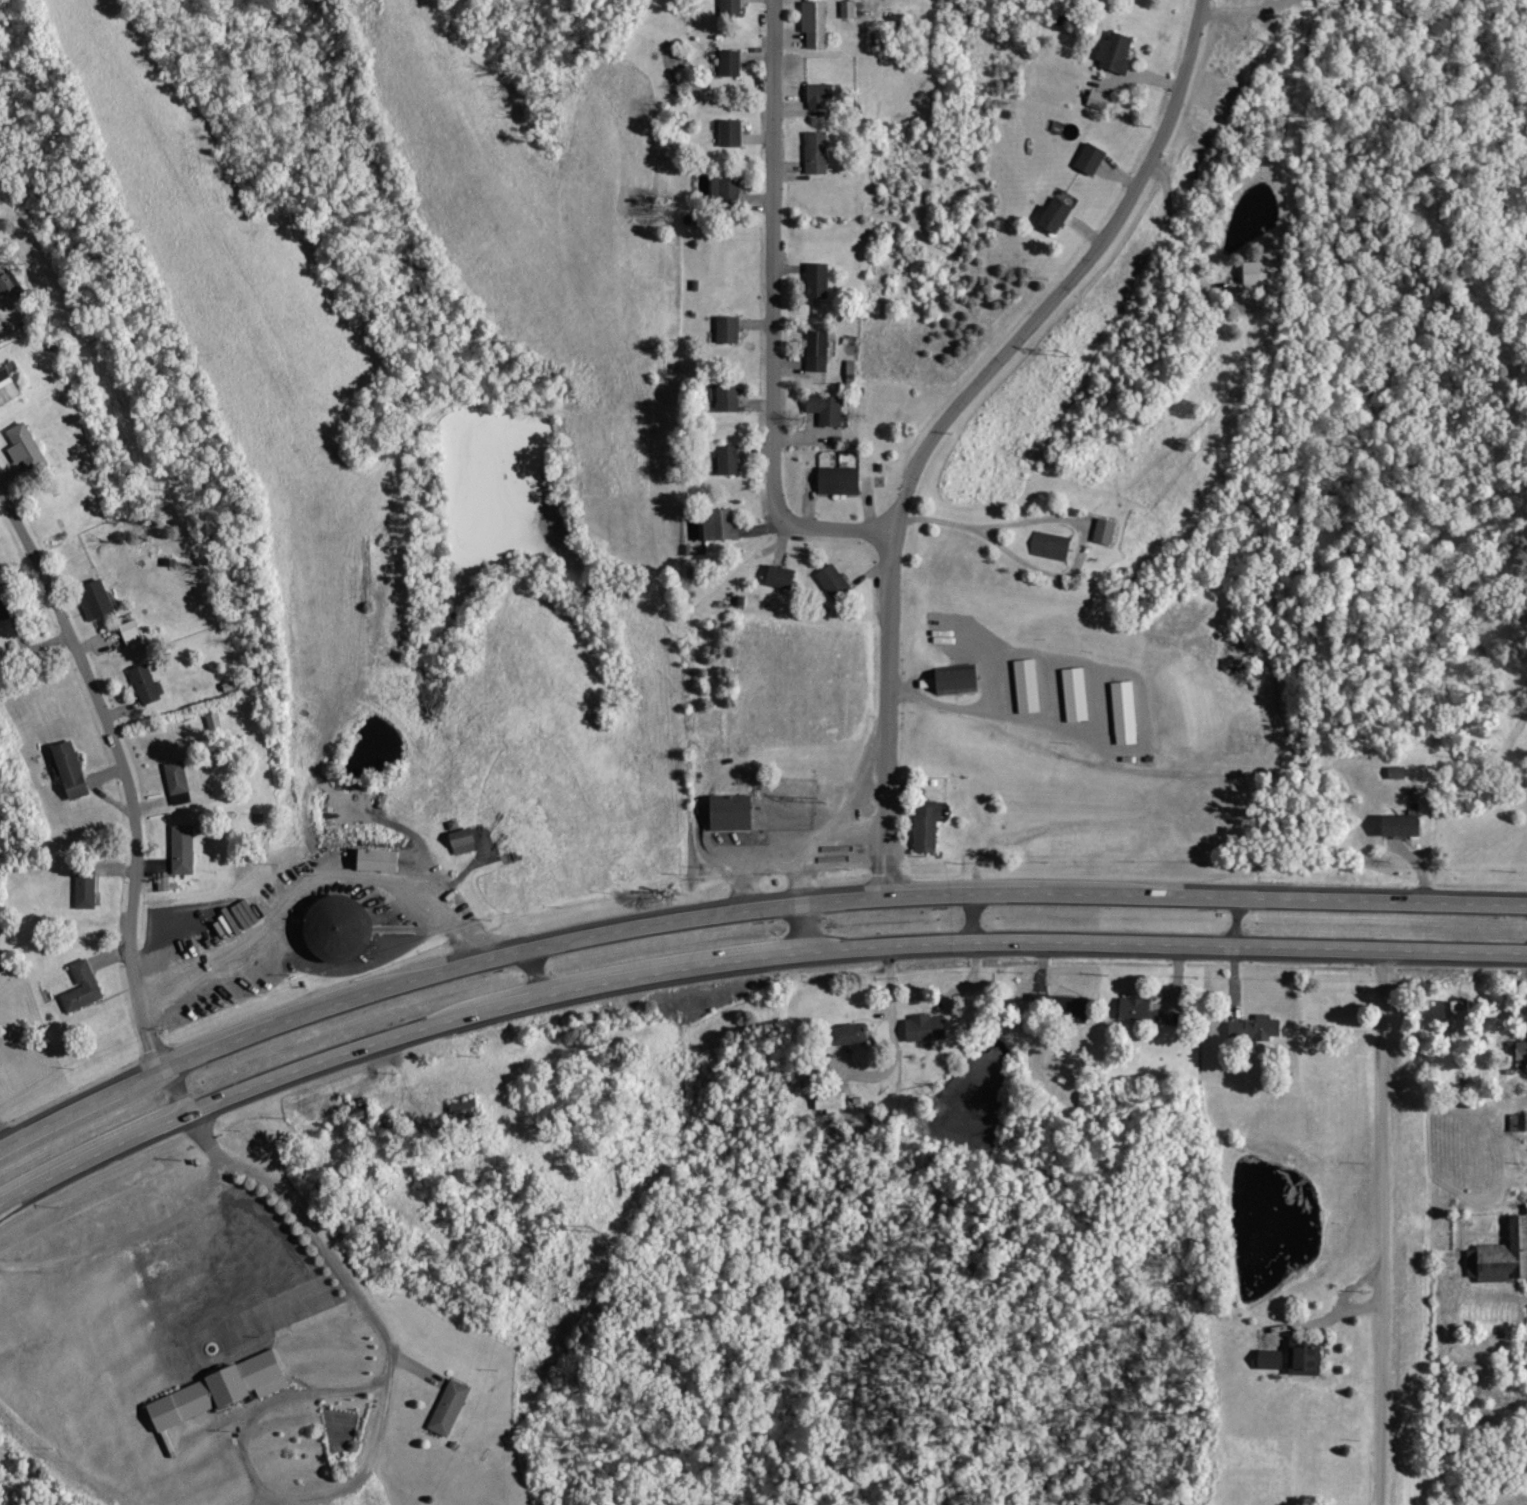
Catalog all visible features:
building: (734, 6)
road: (1241, 8)
building: (817, 23)
building: (1119, 52)
building: (734, 63)
building: (823, 94)
building: (1101, 100)
building: (735, 132)
building: (819, 152)
building: (1094, 158)
building: (730, 186)
building: (1059, 214)
building: (1263, 269)
building: (820, 280)
building: (8, 282)
road: (775, 315)
building: (732, 329)
building: (820, 350)
building: (10, 391)
road: (974, 394)
building: (732, 398)
building: (829, 409)
building: (30, 446)
building: (732, 459)
building: (842, 480)
road: (1002, 523)
building: (722, 525)
building: (1109, 531)
building: (1053, 545)
building: (784, 576)
building: (837, 582)
building: (98, 600)
building: (7, 609)
building: (132, 632)
building: (958, 679)
building: (147, 684)
building: (1027, 685)
building: (1075, 693)
building: (1124, 708)
road: (1020, 717)
building: (73, 770)
building: (1400, 772)
building: (178, 777)
road: (135, 787)
building: (735, 812)
building: (1405, 826)
building: (930, 827)
building: (466, 841)
road: (784, 841)
building: (185, 849)
building: (382, 860)
road: (893, 866)
road: (803, 872)
building: (87, 885)
road: (309, 885)
road: (1024, 891)
road: (1342, 895)
road: (956, 917)
road: (1233, 920)
road: (791, 927)
building: (339, 928)
storage tank: (339, 928)
road: (1159, 946)
road: (431, 973)
road: (638, 974)
road: (525, 975)
road: (1526, 975)
building: (84, 988)
building: (1075, 1008)
building: (1140, 1010)
building: (1463, 1013)
building: (928, 1028)
building: (1257, 1028)
building: (855, 1034)
road: (340, 1059)
building: (834, 1102)
building: (466, 1109)
road: (1, 1146)
road: (94, 1153)
road: (1382, 1227)
road: (124, 1241)
road: (239, 1249)
building: (1502, 1257)
road: (334, 1264)
road: (1362, 1304)
road: (1337, 1306)
fountain: (211, 1349)
building: (1308, 1358)
building: (1274, 1359)
building: (221, 1390)
building: (452, 1406)
road: (264, 1491)

